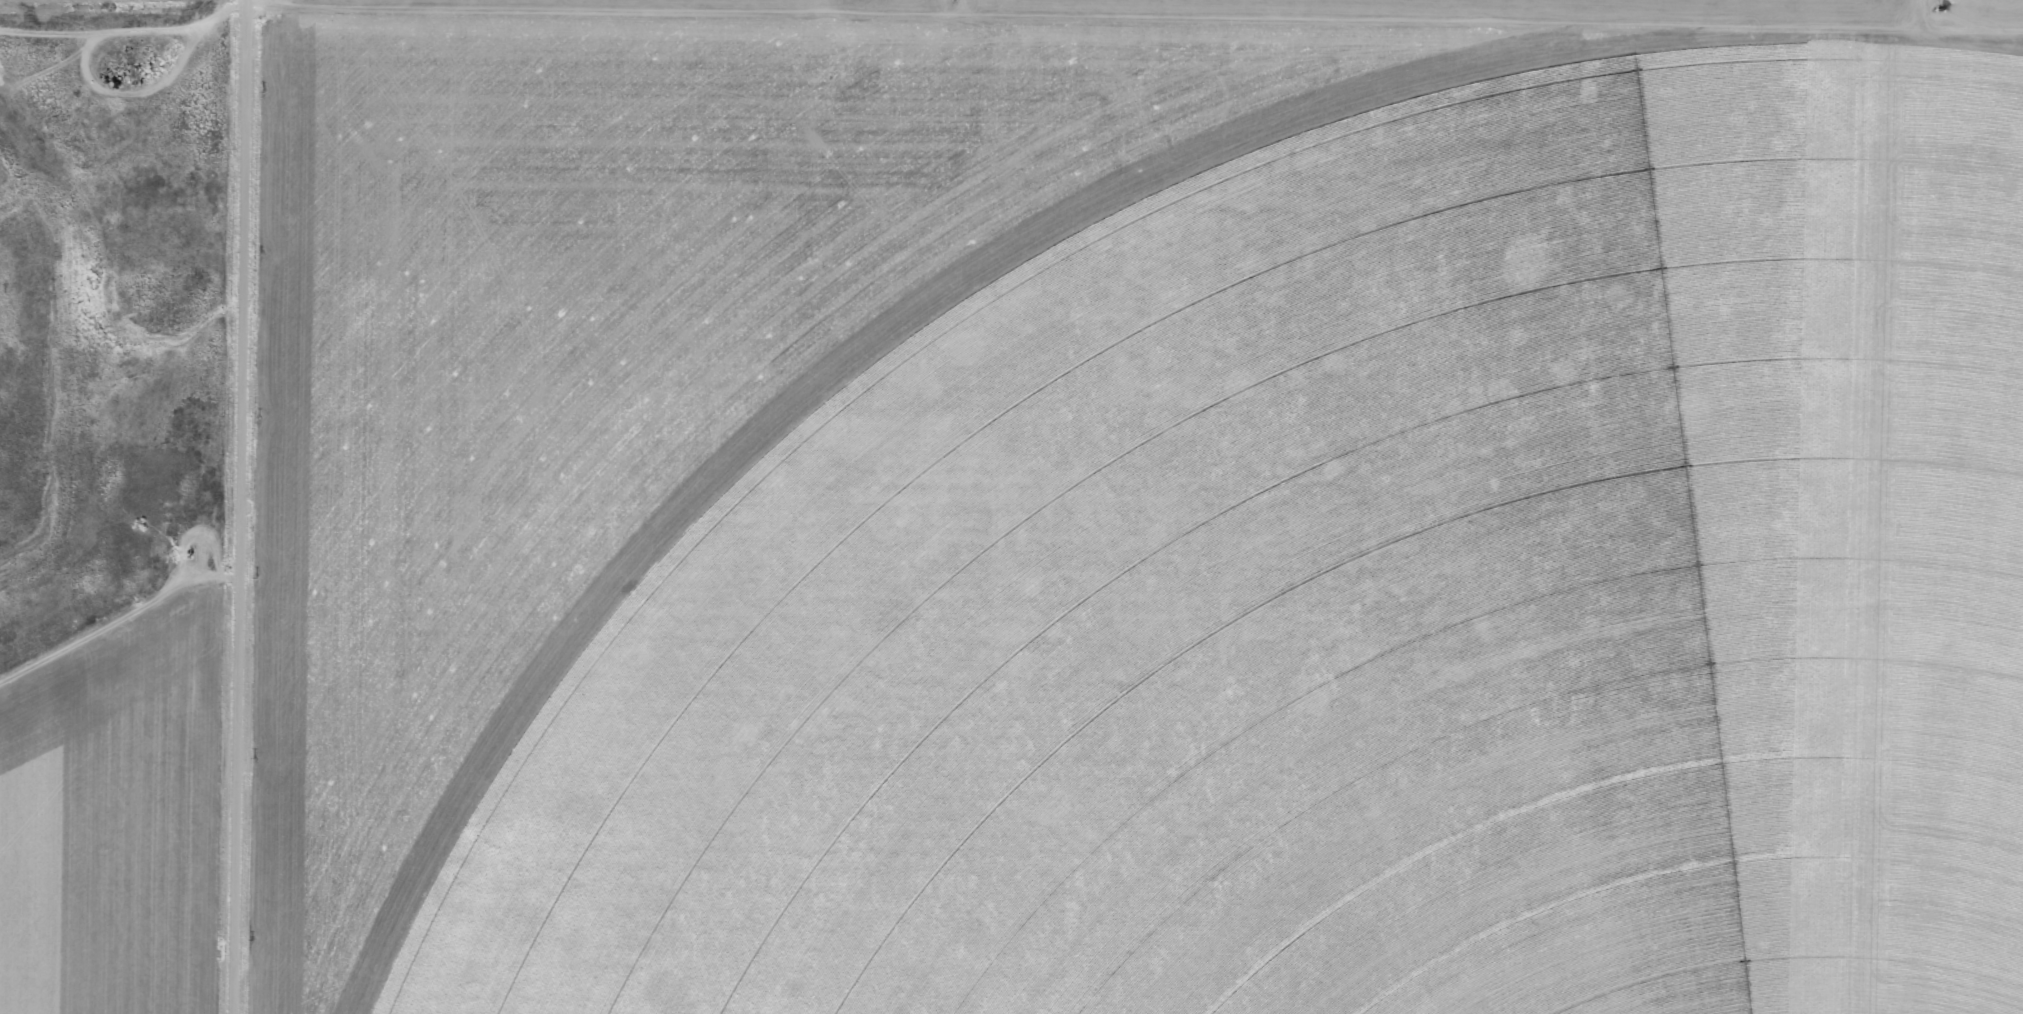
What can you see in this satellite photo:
road: (1010, 46)
road: (242, 507)
road: (779, 529)

